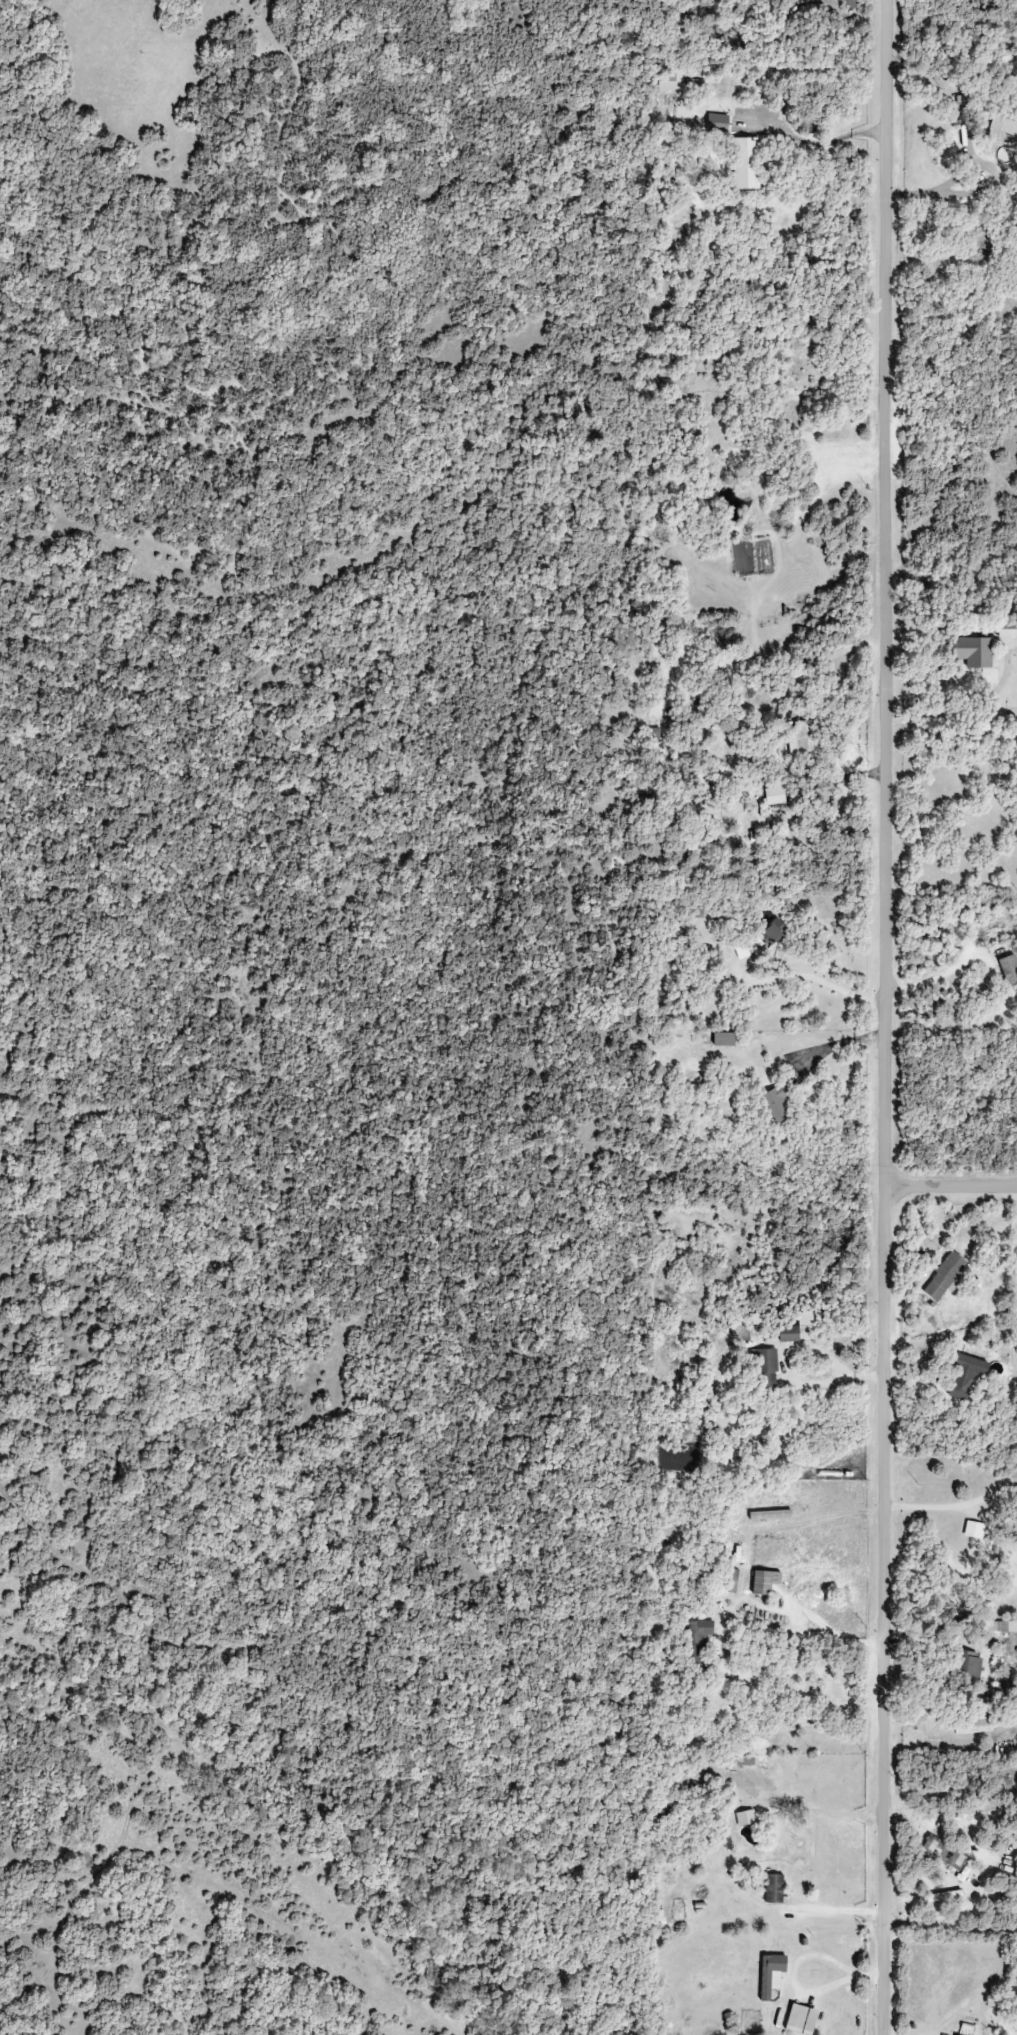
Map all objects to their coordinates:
building: (849, 3)
building: (667, 81)
building: (717, 123)
building: (1001, 128)
road: (815, 144)
building: (744, 163)
road: (940, 186)
building: (1007, 633)
building: (972, 651)
building: (803, 738)
building: (774, 796)
road: (762, 815)
road: (937, 843)
building: (773, 931)
building: (1010, 974)
road: (937, 977)
road: (784, 988)
road: (886, 1017)
building: (723, 1040)
building: (776, 1104)
road: (758, 1141)
road: (951, 1189)
building: (944, 1276)
building: (798, 1330)
building: (768, 1369)
road: (791, 1375)
building: (965, 1376)
road: (952, 1507)
building: (732, 1581)
building: (764, 1582)
building: (998, 1627)
road: (804, 1634)
building: (697, 1638)
building: (965, 1669)
building: (726, 1685)
building: (971, 1725)
building: (745, 1760)
road: (817, 1811)
building: (745, 1818)
building: (944, 1852)
building: (774, 1888)
building: (943, 1896)
road: (835, 1911)
road: (952, 1919)
road: (795, 1964)
building: (771, 1974)
road: (968, 2002)
building: (801, 2020)

